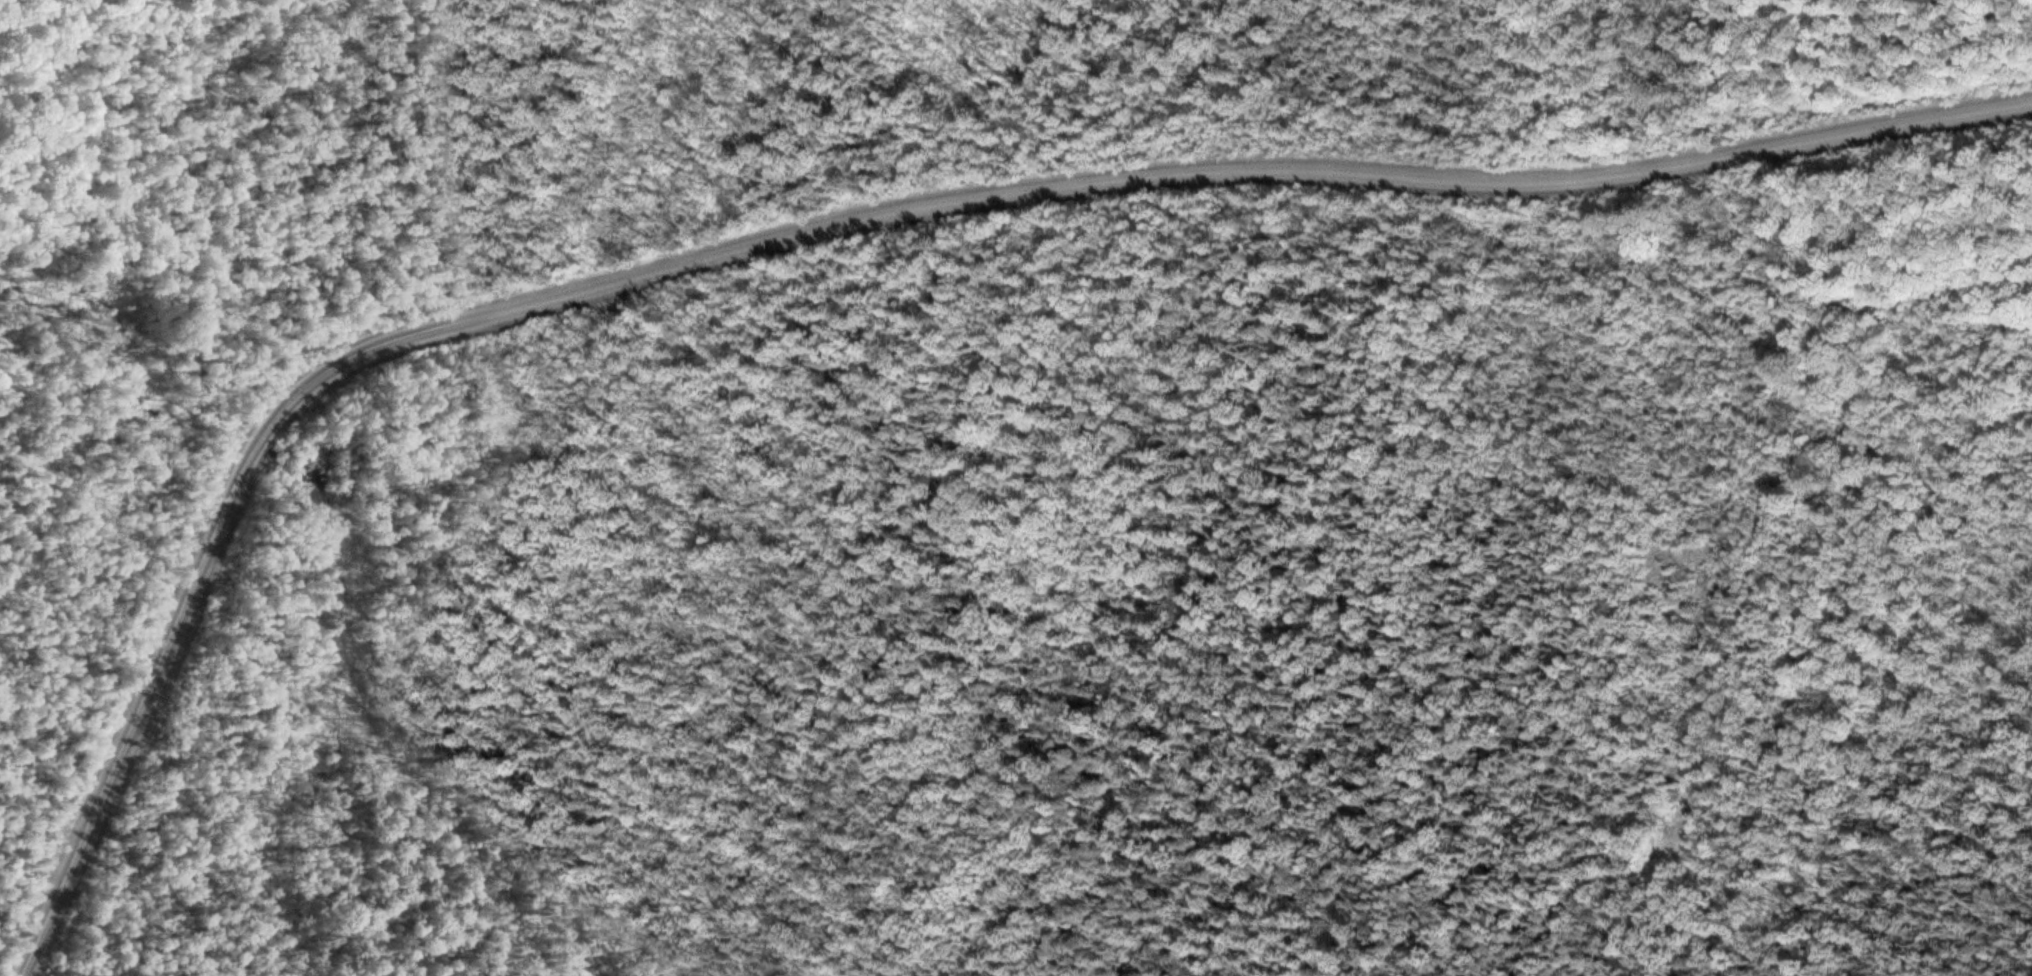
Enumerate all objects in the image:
park: (343, 127)

